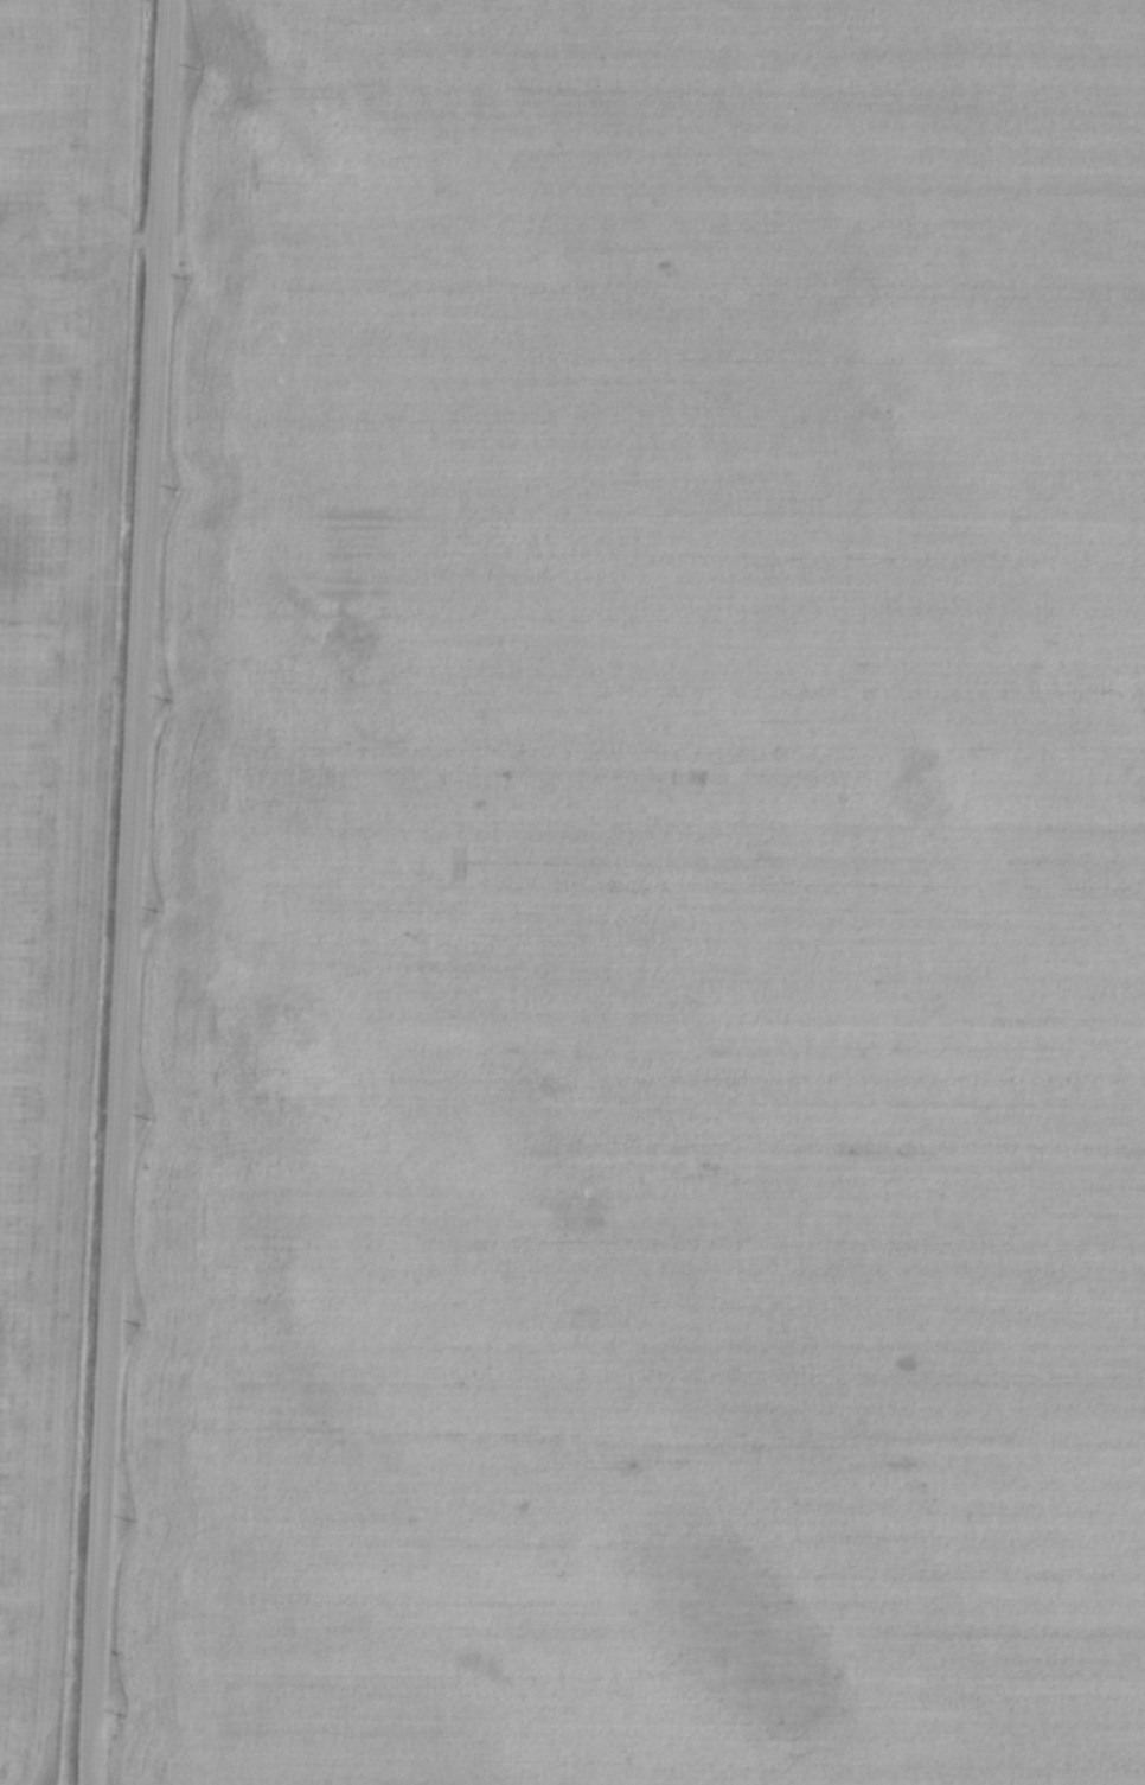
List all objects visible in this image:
crop: (53, 773)
road: (128, 892)
crop: (647, 904)

